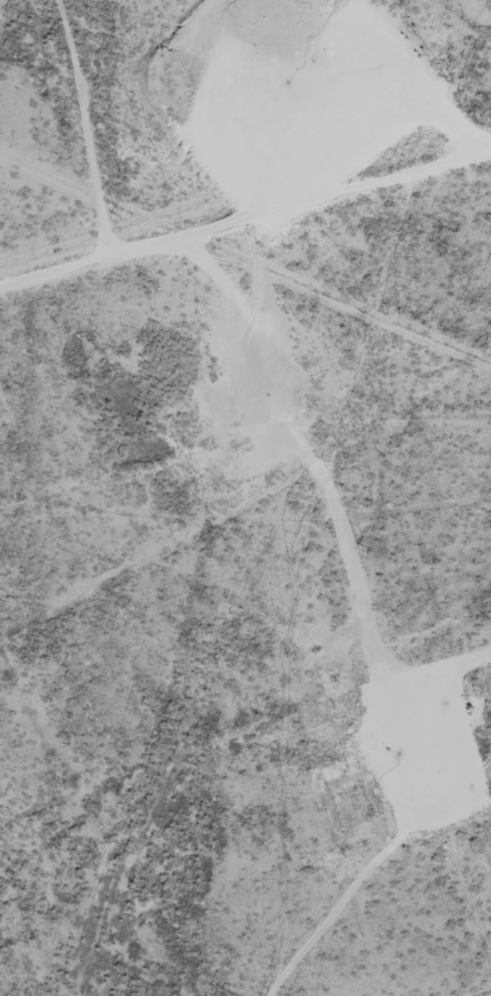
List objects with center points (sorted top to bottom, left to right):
road: (245, 204)

